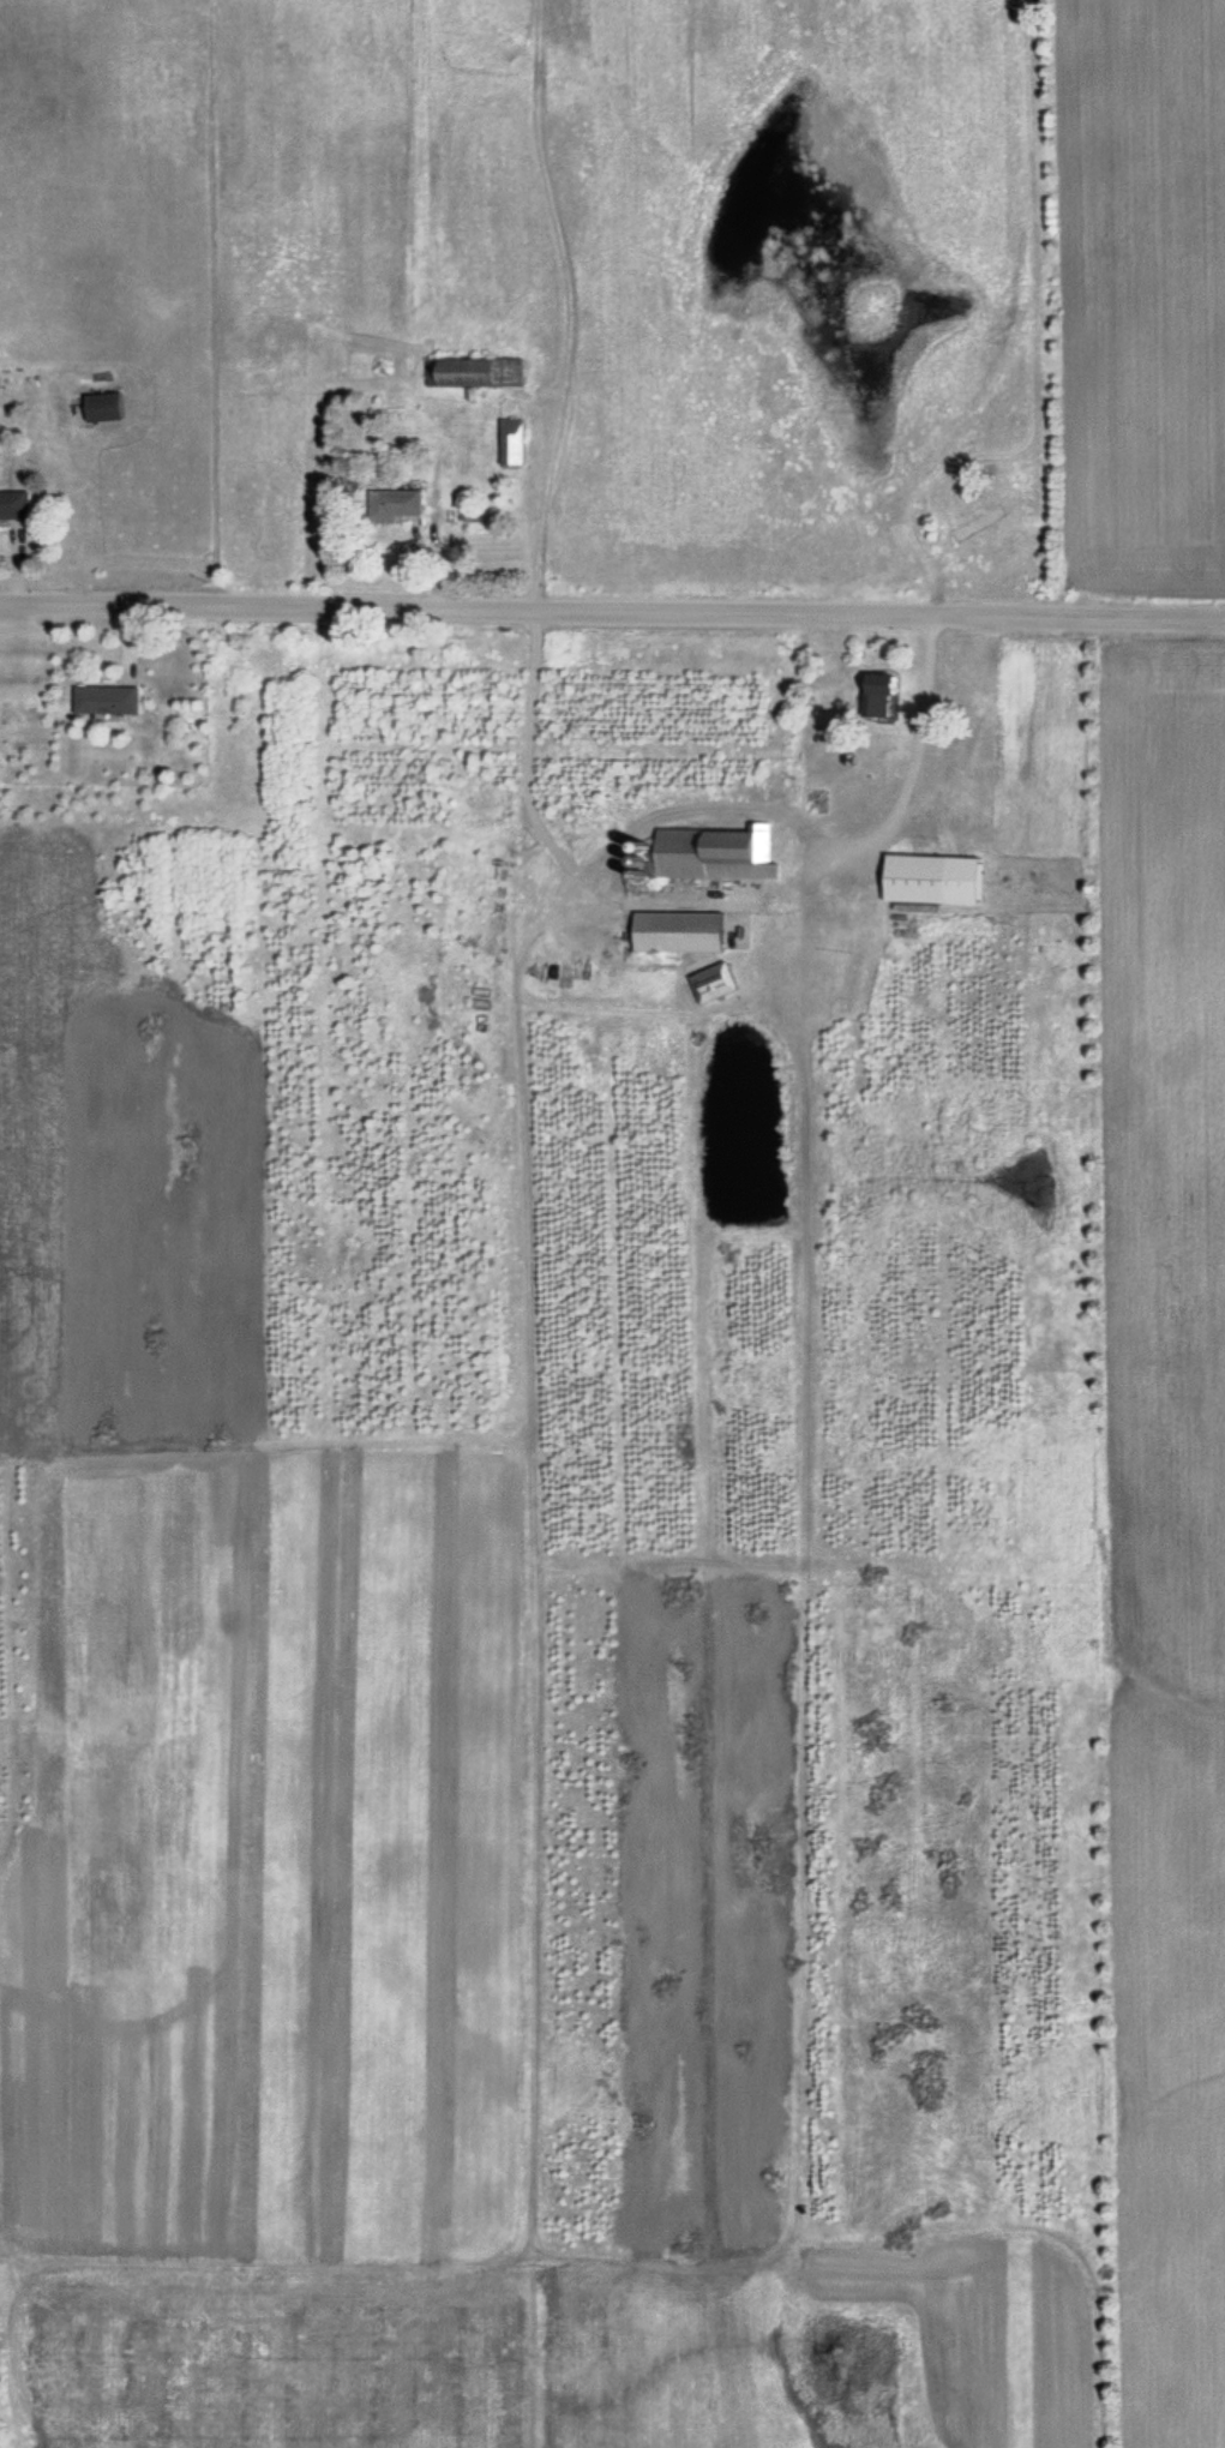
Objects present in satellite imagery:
building: (473, 371)
building: (101, 406)
building: (510, 440)
building: (394, 504)
building: (13, 505)
building: (975, 522)
road: (612, 608)
building: (877, 694)
building: (103, 698)
building: (713, 852)
building: (931, 878)
building: (677, 931)
building: (711, 982)

